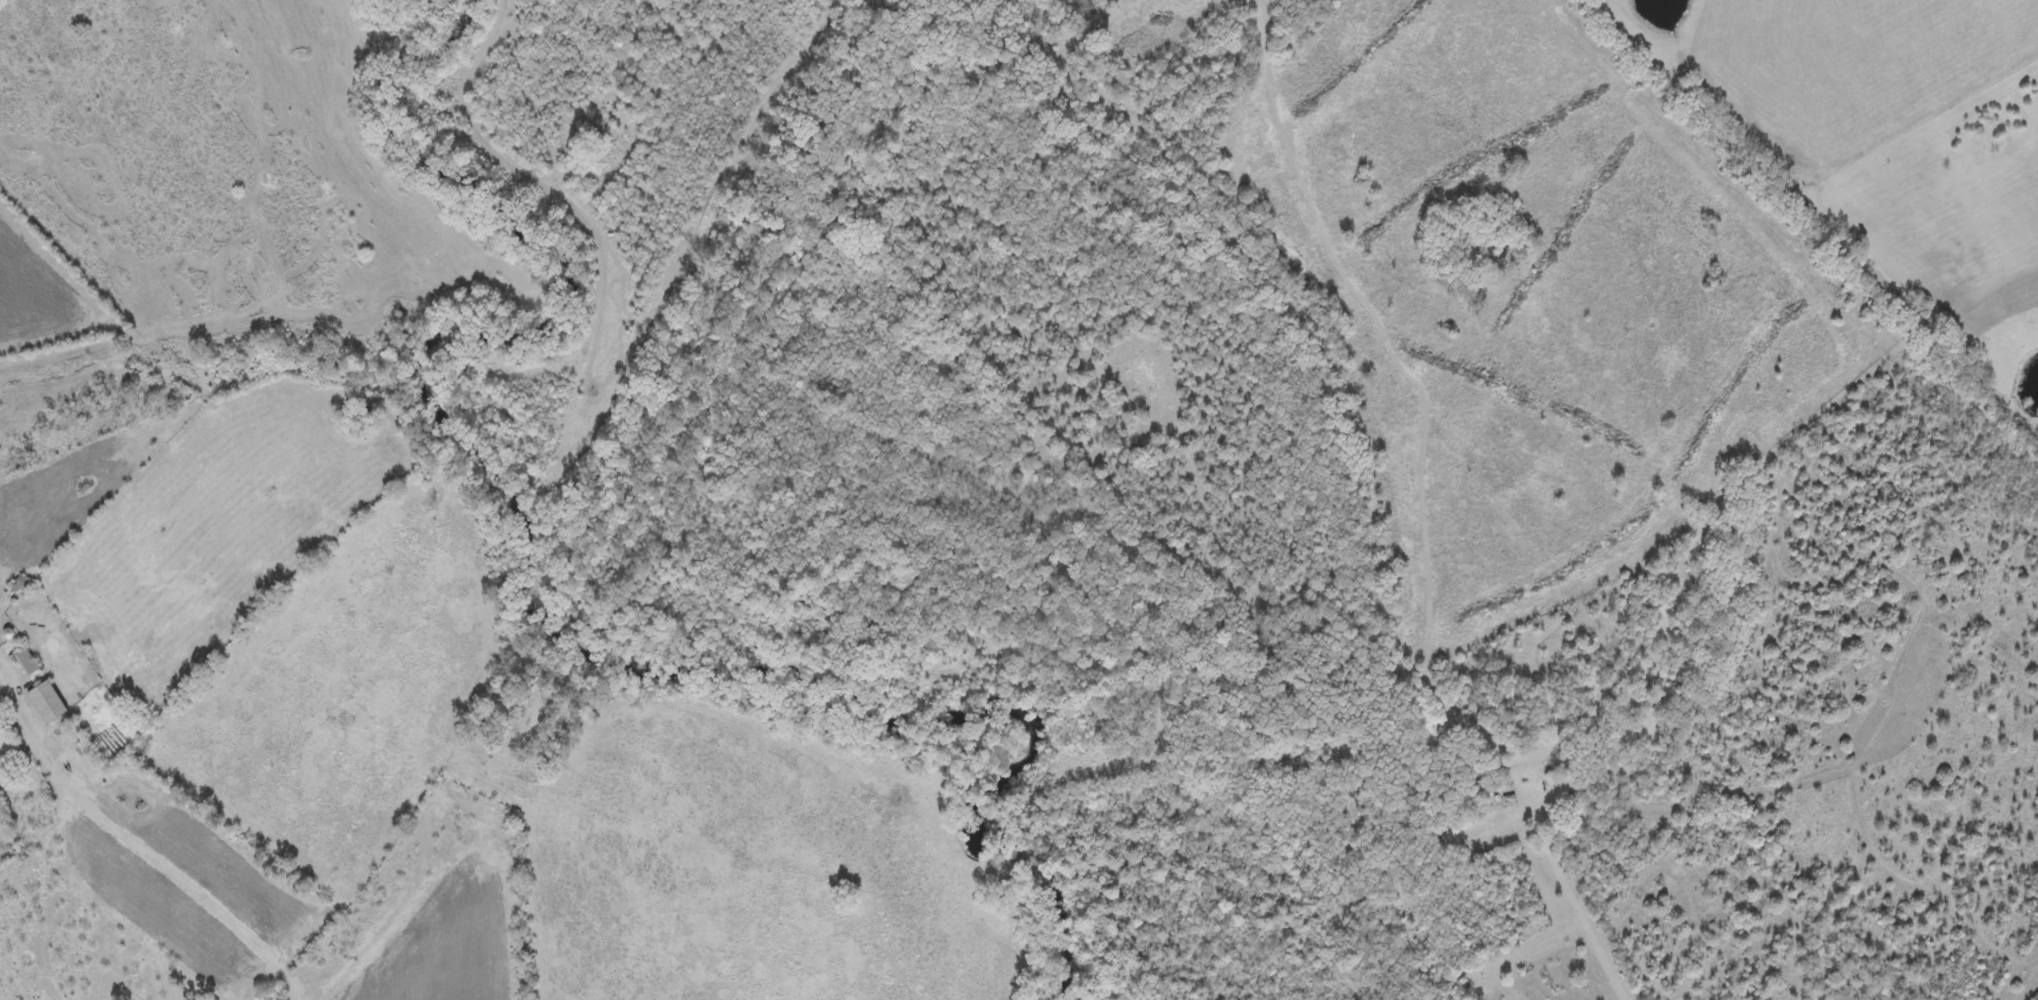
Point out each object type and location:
railway: (673, 447)
building: (47, 704)
railway: (369, 943)

